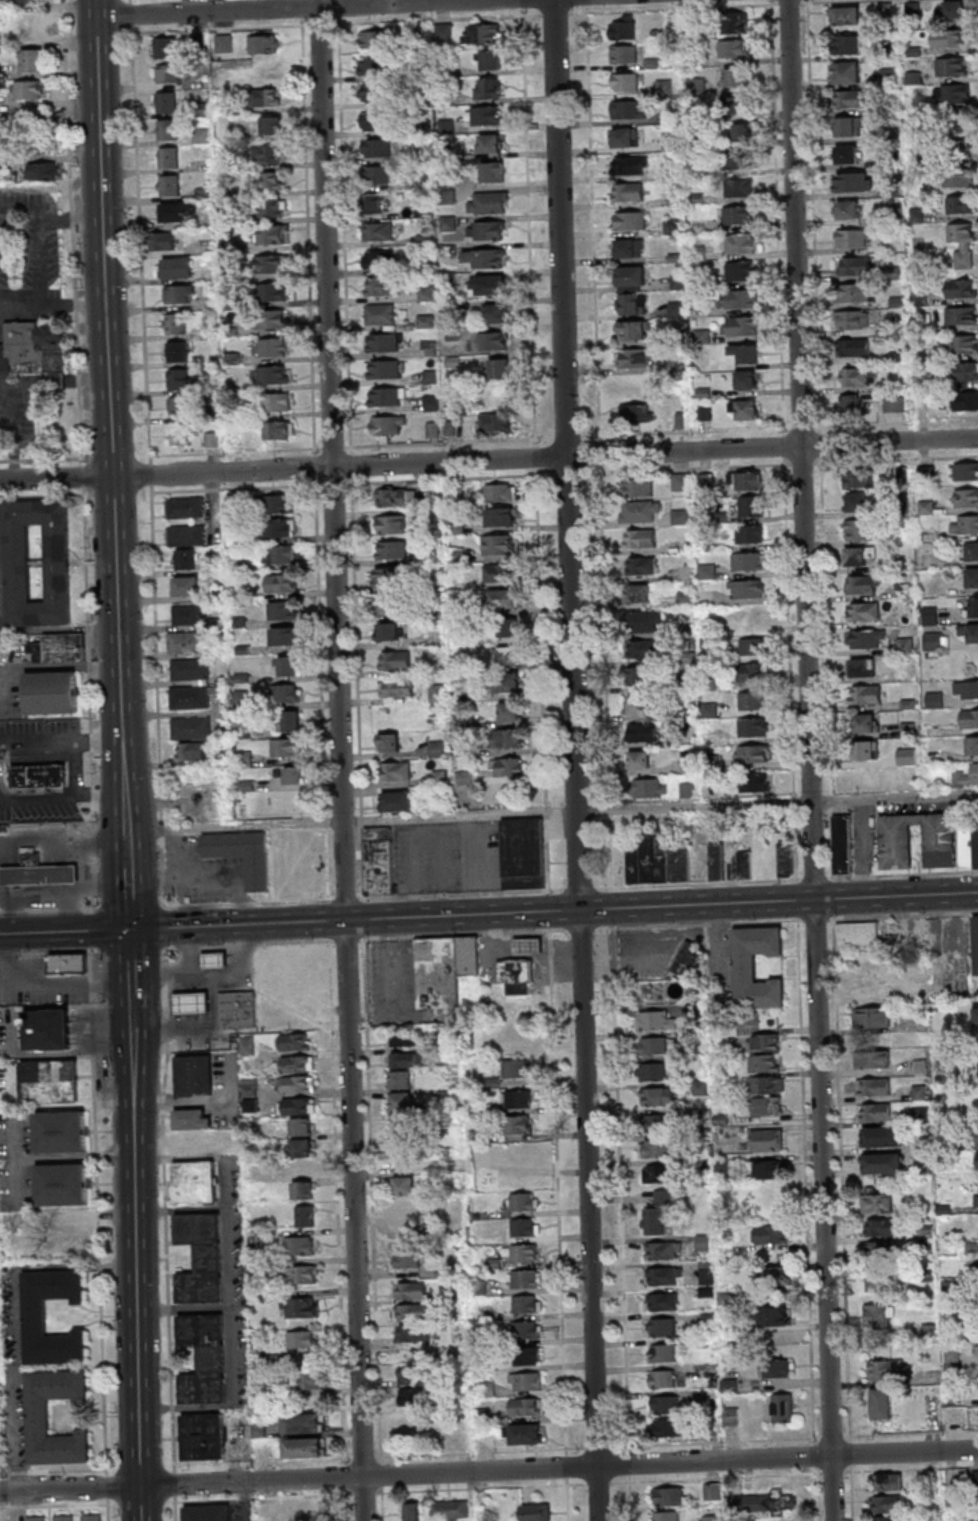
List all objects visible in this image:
building: (33, 2)
road: (279, 8)
building: (952, 10)
building: (844, 15)
building: (735, 23)
building: (32, 25)
building: (623, 28)
building: (483, 34)
building: (373, 39)
building: (948, 39)
building: (263, 43)
building: (847, 45)
building: (165, 47)
building: (733, 48)
building: (623, 54)
building: (489, 60)
building: (35, 61)
building: (374, 65)
building: (951, 67)
building: (1, 71)
building: (168, 73)
building: (845, 73)
building: (734, 77)
building: (624, 81)
building: (489, 88)
building: (32, 90)
building: (374, 91)
building: (954, 95)
building: (264, 98)
building: (850, 98)
building: (166, 102)
building: (5, 103)
building: (735, 104)
building: (628, 109)
building: (485, 115)
building: (374, 120)
building: (273, 125)
building: (849, 126)
building: (168, 129)
building: (740, 133)
building: (623, 137)
building: (668, 142)
building: (489, 144)
building: (376, 148)
building: (956, 148)
building: (270, 153)
building: (847, 154)
building: (168, 157)
building: (740, 161)
building: (628, 165)
building: (493, 171)
building: (45, 172)
building: (375, 175)
building: (958, 176)
building: (270, 181)
building: (853, 182)
building: (169, 184)
building: (738, 188)
building: (626, 191)
building: (448, 198)
building: (375, 202)
building: (489, 202)
building: (960, 204)
building: (271, 208)
building: (423, 210)
building: (847, 210)
building: (175, 212)
building: (737, 216)
building: (629, 220)
road: (46, 222)
building: (490, 230)
building: (378, 231)
road: (76, 232)
building: (271, 234)
road: (107, 238)
building: (852, 239)
building: (162, 240)
building: (962, 243)
building: (739, 244)
building: (629, 247)
building: (697, 253)
building: (485, 258)
building: (378, 259)
road: (38, 263)
building: (272, 264)
building: (857, 266)
building: (177, 267)
building: (739, 272)
building: (489, 285)
building: (381, 286)
building: (962, 288)
building: (631, 290)
building: (272, 292)
building: (426, 292)
building: (179, 293)
building: (854, 293)
building: (738, 300)
building: (896, 303)
road: (55, 305)
building: (380, 314)
building: (494, 314)
building: (962, 315)
building: (271, 318)
building: (853, 320)
building: (175, 323)
building: (739, 327)
building: (631, 331)
building: (53, 338)
building: (494, 342)
building: (384, 343)
building: (963, 344)
building: (271, 347)
building: (853, 348)
building: (176, 351)
building: (34, 353)
building: (744, 354)
building: (632, 359)
building: (5, 362)
building: (383, 369)
building: (500, 369)
building: (959, 371)
building: (272, 374)
building: (854, 377)
building: (179, 378)
road: (89, 379)
building: (746, 379)
road: (57, 381)
road: (23, 382)
building: (57, 383)
building: (387, 396)
building: (965, 400)
building: (273, 401)
building: (431, 403)
building: (849, 403)
building: (632, 404)
building: (893, 404)
building: (178, 406)
building: (744, 409)
building: (703, 413)
building: (494, 422)
building: (387, 424)
building: (278, 430)
road: (16, 431)
building: (180, 434)
road: (600, 445)
road: (149, 453)
road: (489, 460)
road: (42, 461)
building: (965, 471)
road: (84, 476)
road: (538, 477)
building: (855, 479)
building: (749, 481)
building: (678, 482)
building: (637, 487)
building: (500, 492)
building: (395, 497)
building: (966, 498)
building: (855, 502)
building: (280, 503)
building: (184, 507)
building: (750, 507)
building: (639, 510)
building: (500, 516)
building: (680, 516)
building: (389, 524)
building: (964, 524)
building: (279, 527)
building: (859, 530)
building: (185, 535)
building: (748, 535)
building: (640, 538)
building: (497, 544)
building: (391, 549)
building: (972, 551)
building: (280, 554)
building: (857, 556)
building: (184, 559)
building: (748, 563)
building: (20, 564)
building: (642, 566)
building: (686, 572)
building: (706, 572)
building: (498, 573)
building: (390, 577)
building: (971, 577)
building: (281, 583)
building: (861, 584)
building: (186, 586)
building: (746, 590)
building: (637, 593)
building: (503, 599)
building: (391, 605)
road: (116, 607)
building: (971, 607)
building: (283, 610)
building: (863, 611)
building: (188, 613)
building: (929, 615)
building: (642, 622)
building: (509, 628)
road: (58, 630)
building: (389, 631)
building: (969, 631)
building: (286, 635)
building: (864, 638)
building: (933, 641)
building: (184, 642)
building: (753, 647)
building: (61, 650)
building: (642, 650)
building: (508, 656)
building: (392, 659)
road: (46, 665)
building: (288, 665)
building: (861, 667)
building: (188, 670)
building: (750, 673)
building: (641, 677)
building: (508, 682)
building: (396, 687)
building: (966, 689)
building: (286, 693)
building: (437, 693)
building: (53, 694)
building: (864, 694)
road: (91, 698)
building: (190, 698)
building: (934, 699)
building: (751, 701)
building: (637, 705)
building: (710, 711)
building: (509, 712)
building: (969, 718)
building: (290, 720)
building: (866, 723)
building: (752, 728)
building: (190, 729)
building: (642, 732)
building: (507, 739)
road: (58, 741)
building: (388, 742)
building: (971, 745)
building: (285, 747)
building: (436, 748)
building: (865, 750)
building: (191, 752)
building: (752, 754)
building: (933, 755)
building: (906, 756)
road: (344, 760)
road: (578, 760)
building: (638, 760)
road: (812, 760)
road: (122, 767)
building: (508, 768)
road: (75, 769)
building: (394, 771)
road: (2, 774)
building: (40, 774)
building: (294, 775)
building: (967, 776)
building: (463, 777)
building: (439, 778)
building: (755, 782)
building: (651, 789)
building: (688, 790)
road: (100, 795)
road: (38, 800)
building: (395, 801)
road: (551, 813)
building: (4, 829)
road: (125, 831)
road: (58, 843)
building: (842, 844)
road: (7, 845)
building: (896, 845)
building: (969, 845)
road: (59, 853)
building: (523, 853)
building: (242, 854)
building: (786, 859)
building: (378, 860)
building: (656, 862)
building: (716, 862)
building: (743, 864)
building: (42, 873)
road: (60, 873)
road: (14, 874)
road: (61, 887)
road: (67, 892)
road: (127, 897)
road: (161, 904)
road: (129, 905)
road: (15, 907)
road: (50, 911)
road: (72, 911)
road: (553, 912)
road: (163, 926)
traffic signals: (129, 929)
road: (64, 931)
building: (857, 936)
building: (975, 943)
building: (528, 946)
building: (688, 958)
building: (216, 959)
building: (70, 962)
road: (130, 962)
building: (746, 966)
building: (443, 968)
building: (516, 974)
building: (918, 976)
road: (46, 983)
building: (872, 986)
parking lot: (45, 987)
building: (193, 1002)
building: (239, 1010)
building: (974, 1016)
building: (871, 1018)
building: (655, 1022)
building: (45, 1031)
building: (402, 1037)
building: (294, 1041)
building: (765, 1042)
building: (247, 1044)
building: (652, 1046)
building: (872, 1059)
building: (406, 1060)
building: (765, 1063)
building: (297, 1064)
building: (248, 1065)
building: (514, 1069)
building: (652, 1071)
building: (193, 1075)
building: (400, 1079)
building: (50, 1080)
building: (296, 1083)
building: (767, 1084)
building: (873, 1087)
building: (249, 1094)
building: (656, 1096)
building: (518, 1098)
building: (973, 1100)
building: (400, 1101)
building: (297, 1106)
building: (766, 1106)
building: (874, 1111)
building: (192, 1118)
building: (656, 1122)
building: (516, 1124)
building: (60, 1131)
building: (399, 1132)
building: (882, 1136)
building: (977, 1138)
building: (767, 1139)
building: (183, 1143)
building: (654, 1148)
road: (75, 1155)
road: (204, 1155)
building: (977, 1161)
building: (883, 1163)
road: (16, 1164)
building: (769, 1169)
building: (657, 1174)
building: (195, 1181)
building: (61, 1184)
building: (303, 1190)
building: (405, 1195)
building: (976, 1197)
building: (523, 1202)
building: (877, 1202)
building: (658, 1213)
building: (305, 1215)
building: (880, 1227)
building: (406, 1228)
building: (523, 1228)
road: (165, 1232)
building: (80, 1233)
building: (770, 1233)
building: (704, 1242)
building: (300, 1245)
building: (662, 1250)
building: (880, 1250)
building: (524, 1254)
building: (201, 1257)
road: (139, 1258)
building: (406, 1258)
building: (974, 1266)
road: (29, 1268)
building: (305, 1274)
building: (663, 1275)
building: (770, 1276)
building: (526, 1279)
building: (880, 1281)
building: (949, 1286)
building: (411, 1290)
building: (661, 1301)
building: (527, 1303)
road: (229, 1305)
road: (184, 1306)
building: (299, 1307)
building: (412, 1312)
building: (35, 1316)
building: (773, 1316)
building: (877, 1316)
building: (660, 1326)
building: (528, 1329)
building: (412, 1332)
building: (301, 1340)
building: (977, 1348)
building: (662, 1352)
building: (528, 1355)
building: (204, 1358)
building: (777, 1368)
building: (887, 1370)
building: (411, 1375)
building: (661, 1378)
building: (310, 1380)
building: (526, 1381)
building: (412, 1396)
building: (664, 1404)
building: (879, 1404)
building: (2, 1406)
building: (527, 1406)
building: (782, 1407)
building: (39, 1415)
building: (732, 1416)
building: (304, 1423)
building: (664, 1427)
building: (409, 1428)
road: (16, 1431)
building: (525, 1434)
building: (202, 1436)
building: (303, 1447)
road: (488, 1470)
road: (599, 1481)
building: (887, 1481)
building: (712, 1491)
road: (110, 1493)
building: (671, 1496)
road: (244, 1501)
building: (764, 1503)
building: (886, 1503)
road: (55, 1506)
road: (110, 1510)
building: (450, 1510)
building: (412, 1511)
building: (207, 1512)
building: (535, 1512)
building: (668, 1516)
building: (66, 1518)
building: (94, 1518)
building: (711, 1518)
building: (887, 1518)
building: (38, 1519)
building: (2, 1520)

